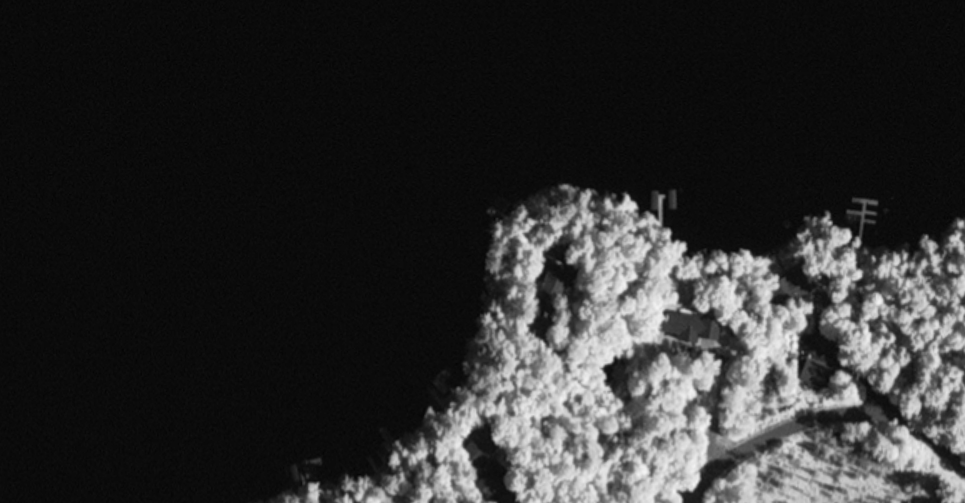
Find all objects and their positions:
building: (552, 283)
building: (793, 286)
building: (687, 326)
building: (815, 372)
road: (821, 416)
building: (479, 446)

